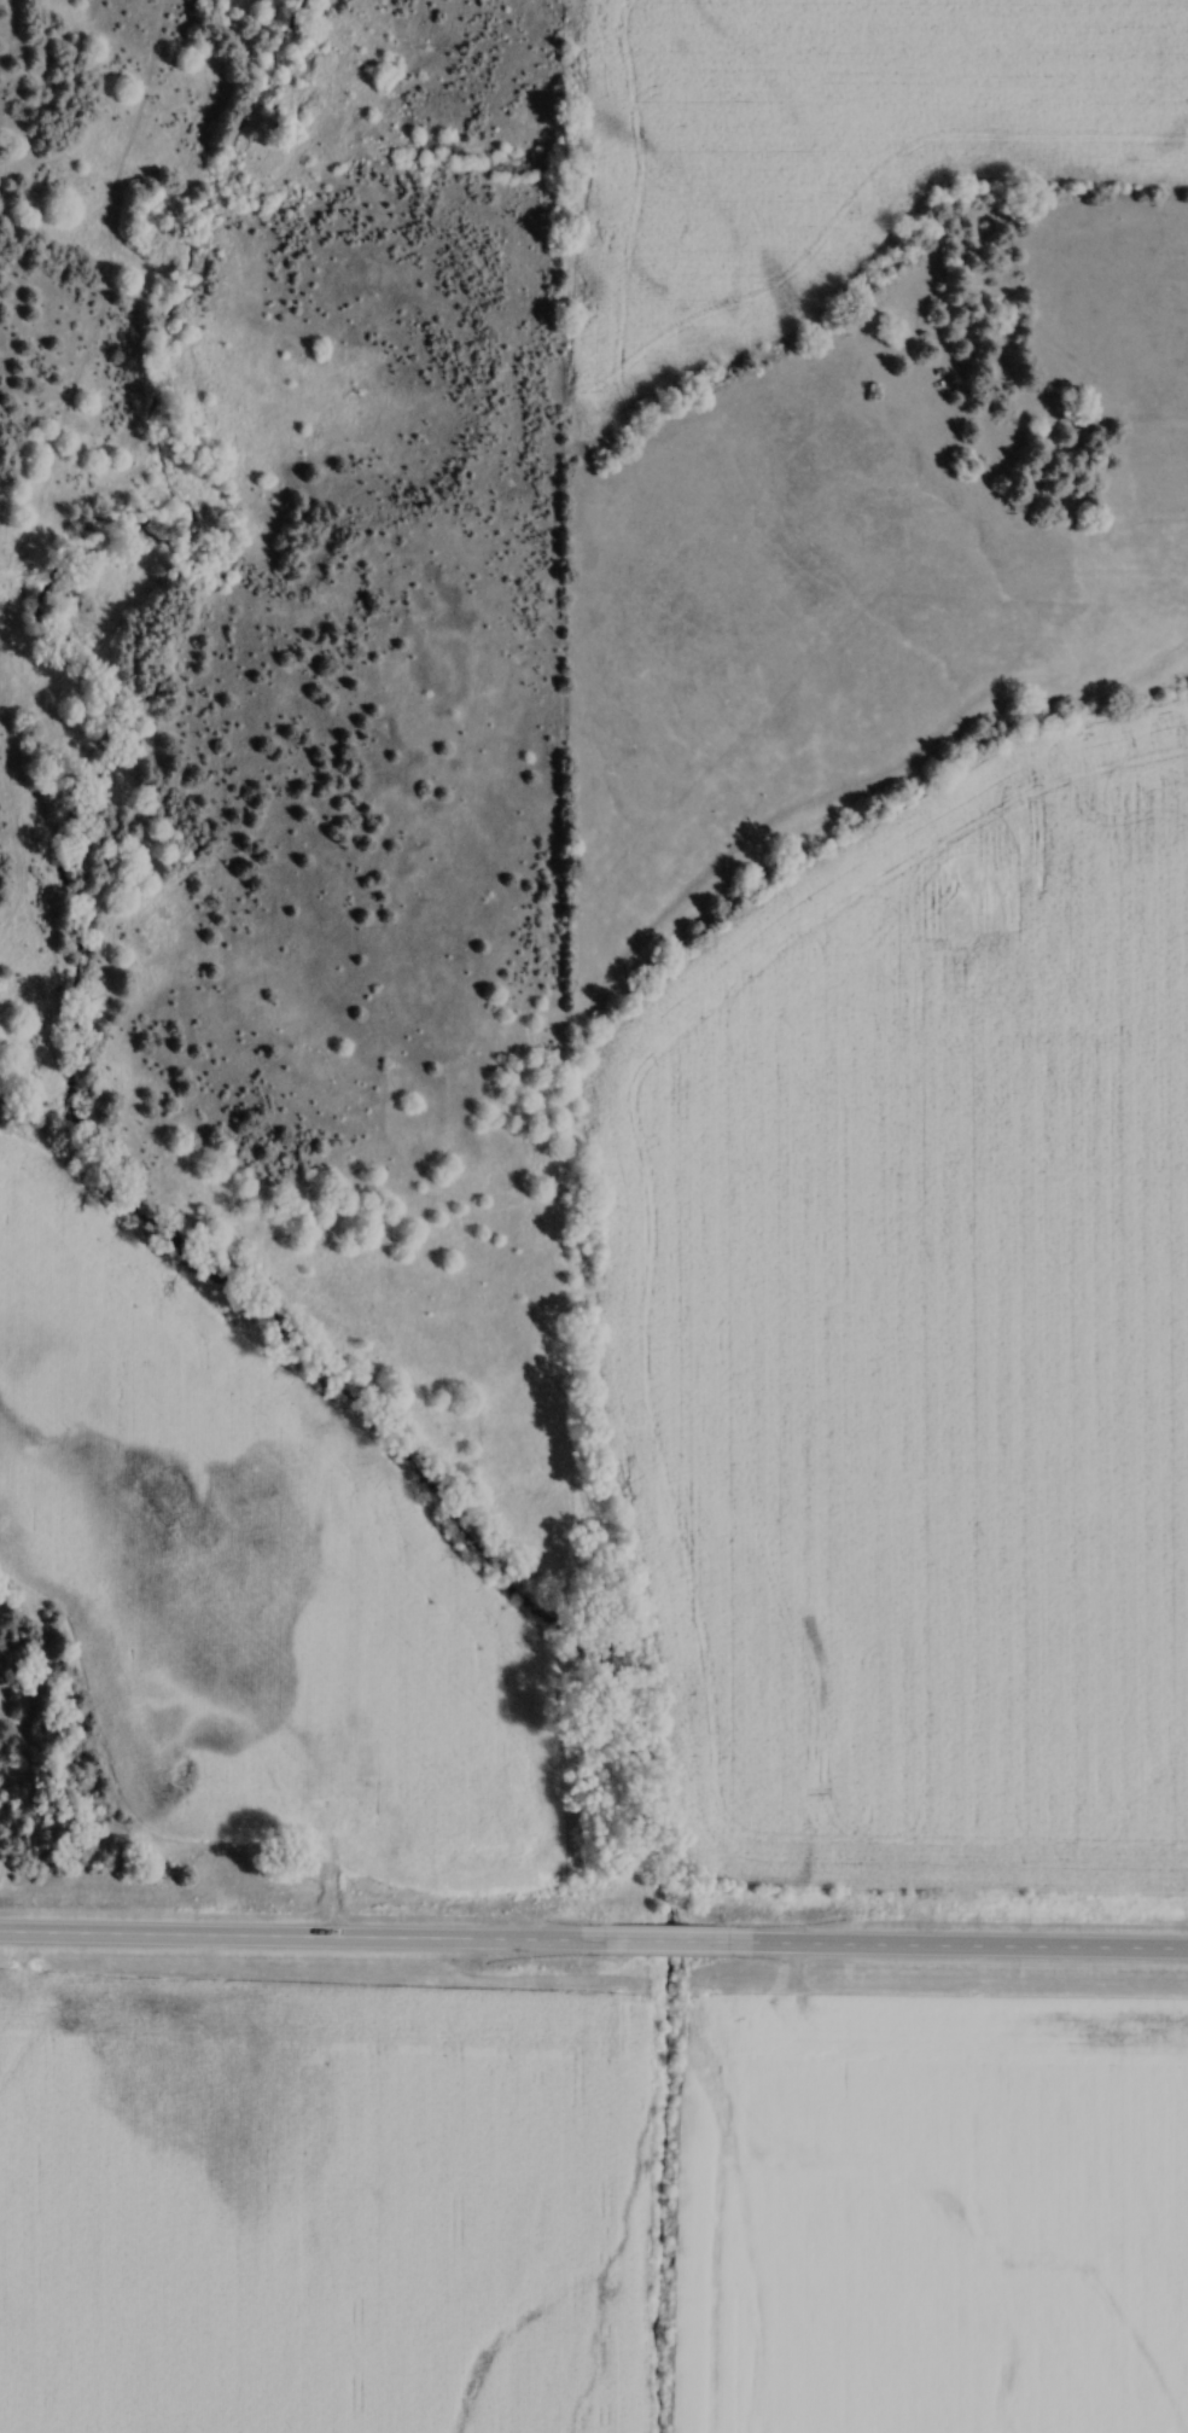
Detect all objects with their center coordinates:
road: (308, 1934)
road: (683, 1938)
road: (969, 1944)

